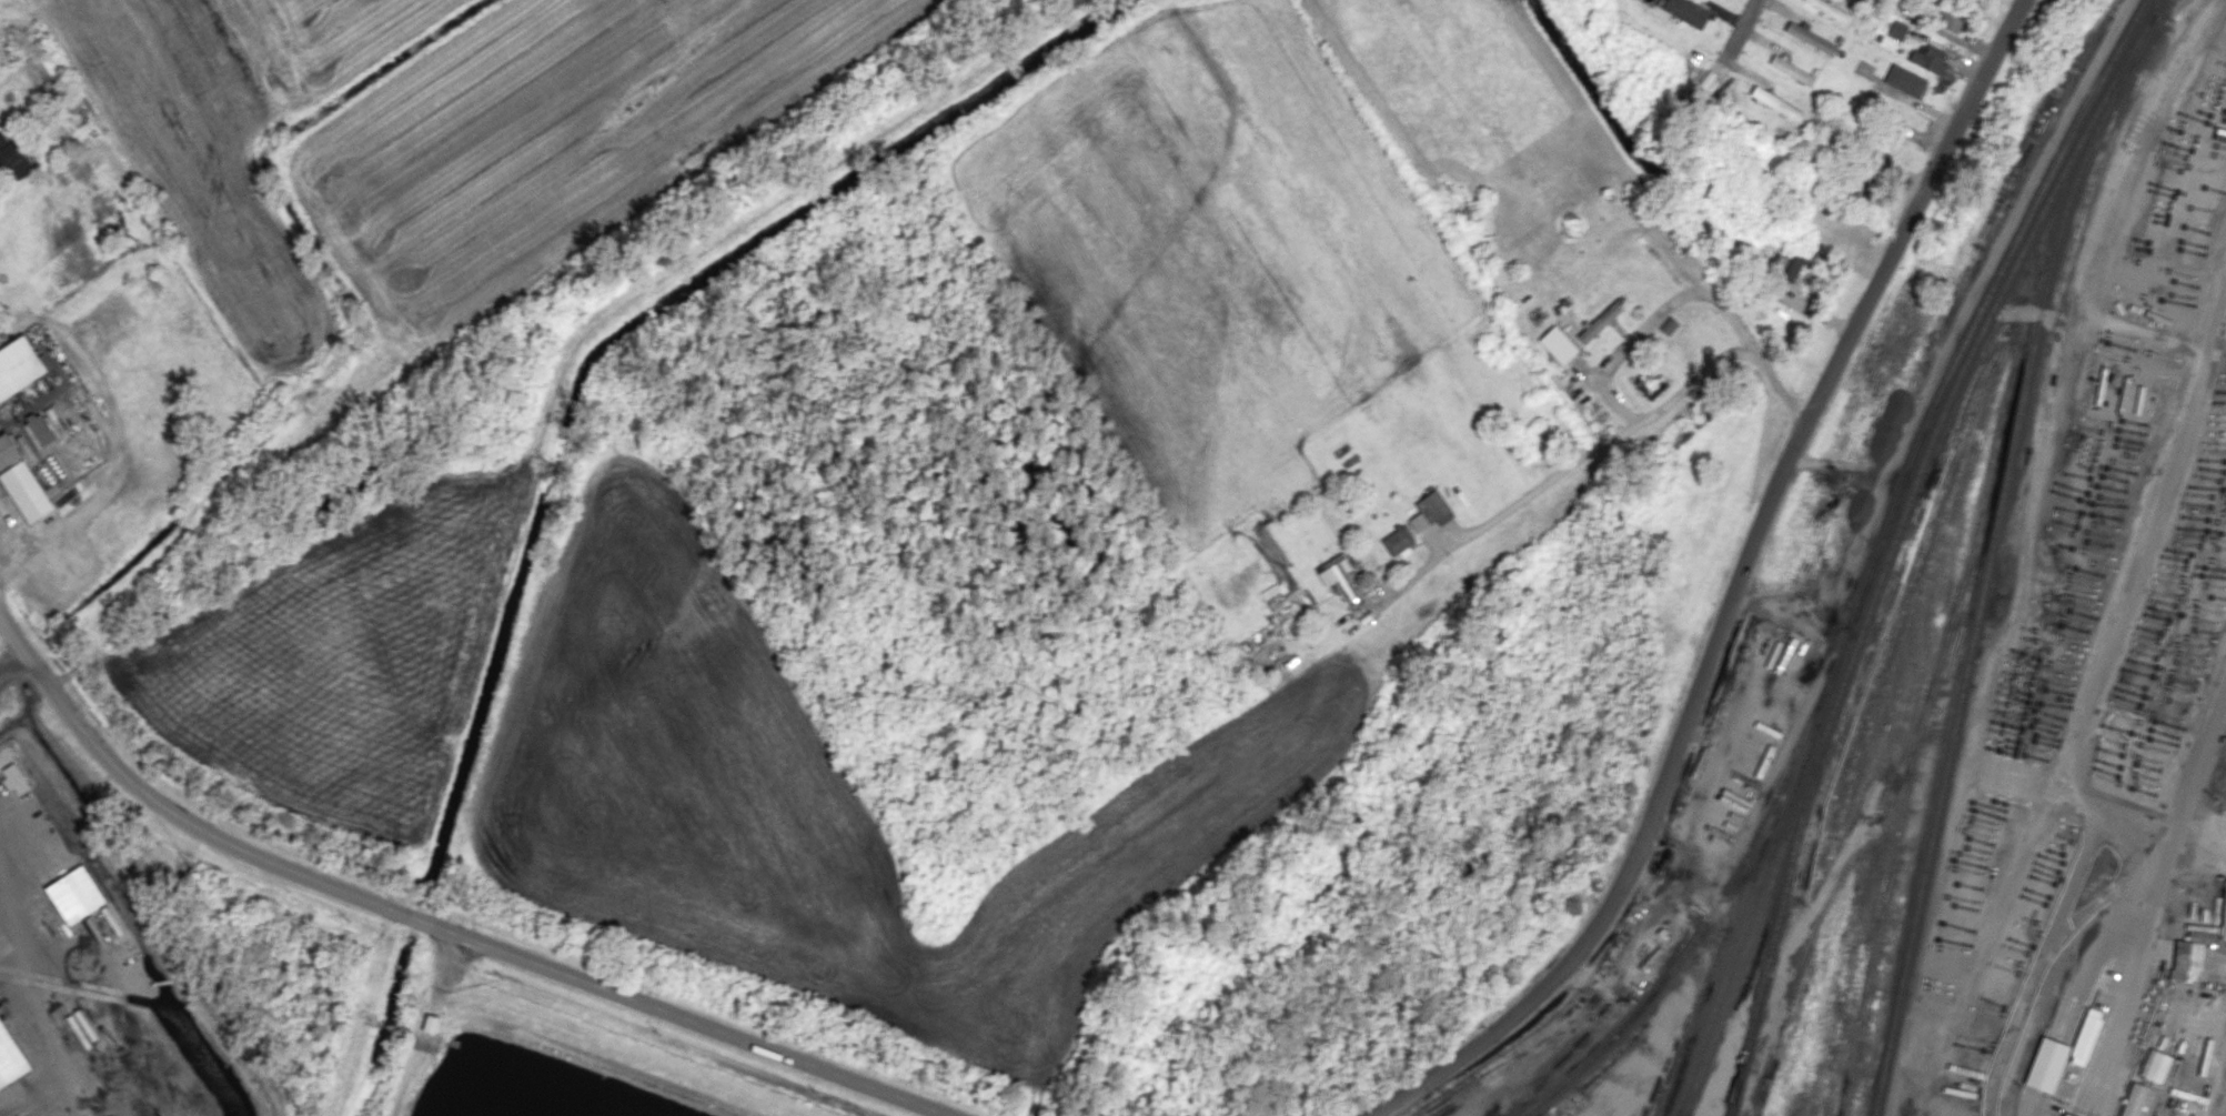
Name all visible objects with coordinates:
building: (1829, 8)
building: (1685, 11)
building: (1952, 21)
road: (1749, 30)
building: (1897, 30)
building: (1811, 39)
building: (1927, 59)
building: (1792, 70)
building: (1905, 80)
building: (1776, 103)
crop: (382, 127)
building: (14, 157)
building: (1790, 265)
road: (1651, 318)
building: (1600, 321)
road: (11, 325)
building: (1668, 325)
building: (1558, 344)
building: (20, 365)
building: (40, 429)
road: (118, 451)
road: (1591, 456)
building: (22, 480)
building: (1430, 511)
building: (1398, 540)
railway: (1882, 544)
road: (7, 547)
railway: (1993, 549)
building: (1339, 577)
road: (1740, 591)
building: (1282, 605)
road: (12, 655)
road: (2091, 697)
crop: (679, 750)
building: (14, 777)
road: (2189, 781)
road: (165, 807)
road: (17, 831)
building: (74, 895)
railway: (1719, 897)
road: (419, 916)
building: (2224, 917)
building: (2194, 946)
road: (2039, 957)
road: (692, 1017)
building: (2085, 1037)
building: (10, 1058)
building: (2046, 1064)
building: (2134, 1099)
building: (2067, 1114)

